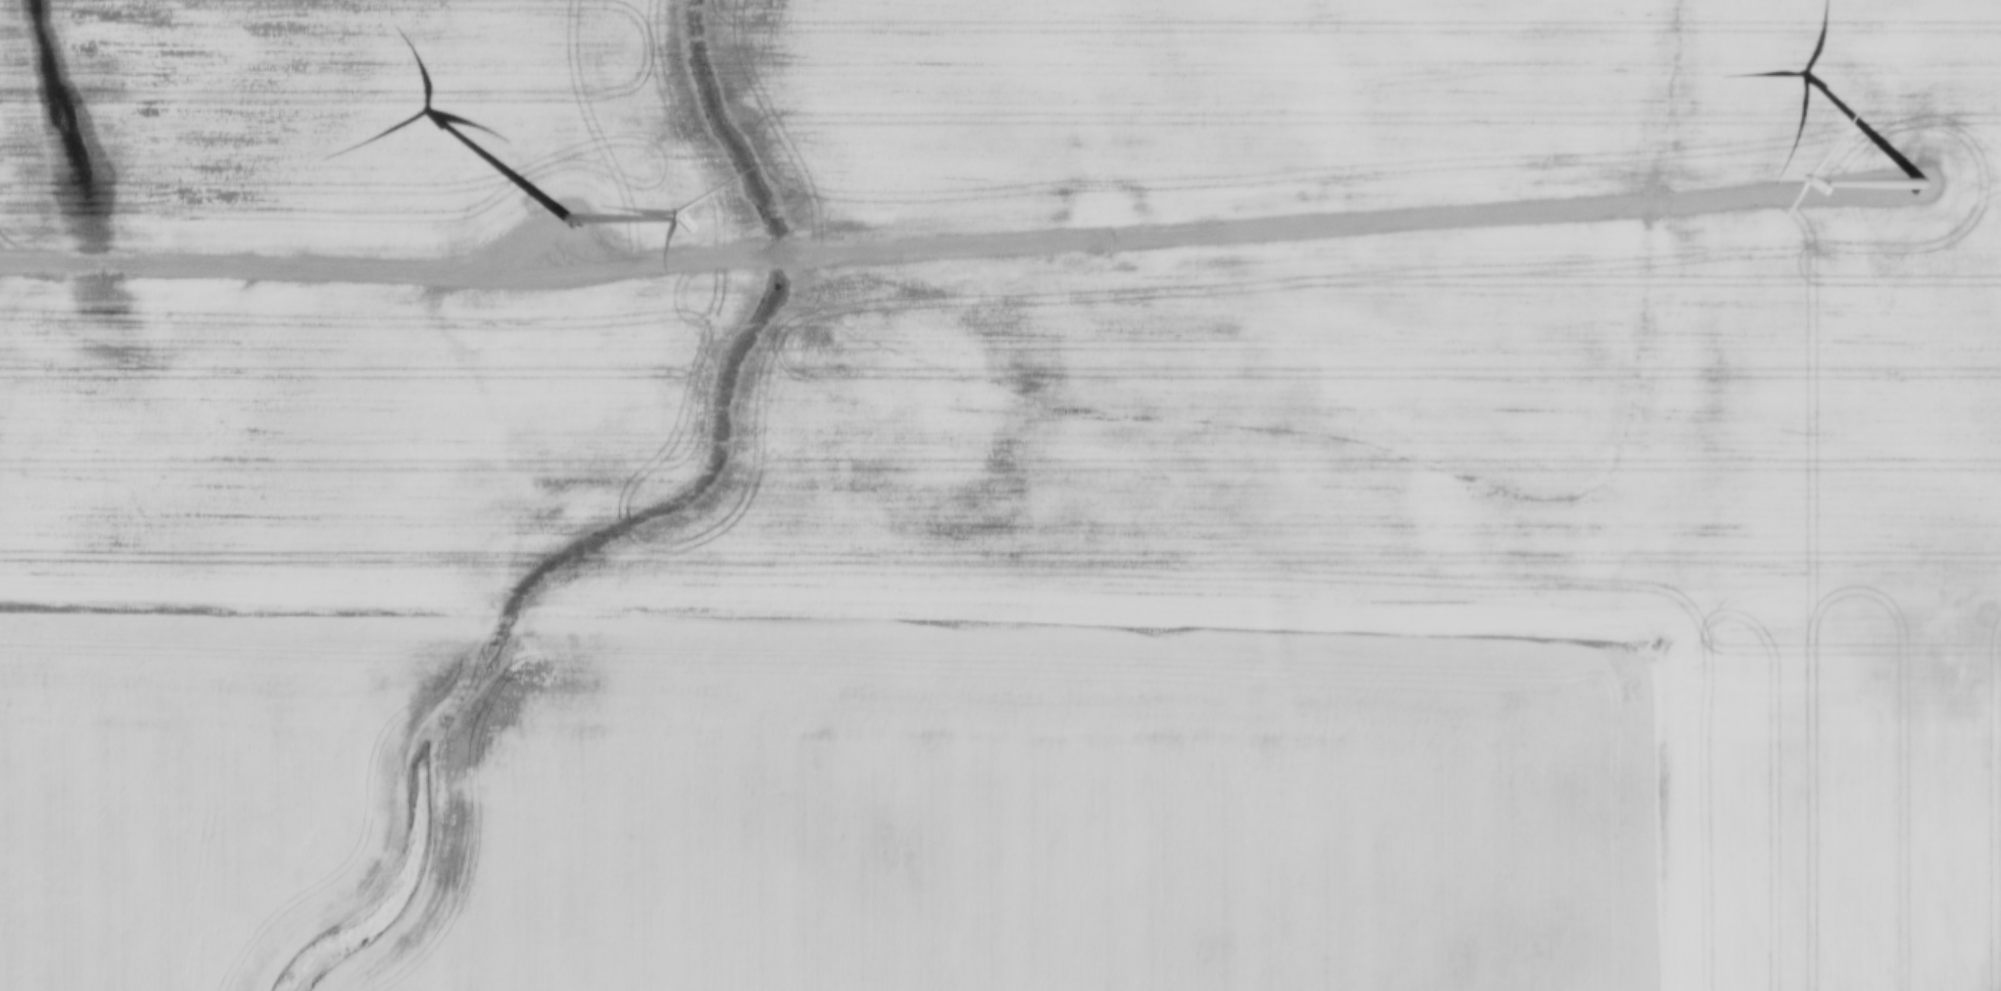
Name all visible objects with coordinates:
wind turbine: (1924, 182)
building: (565, 217)
wind turbine: (569, 217)

